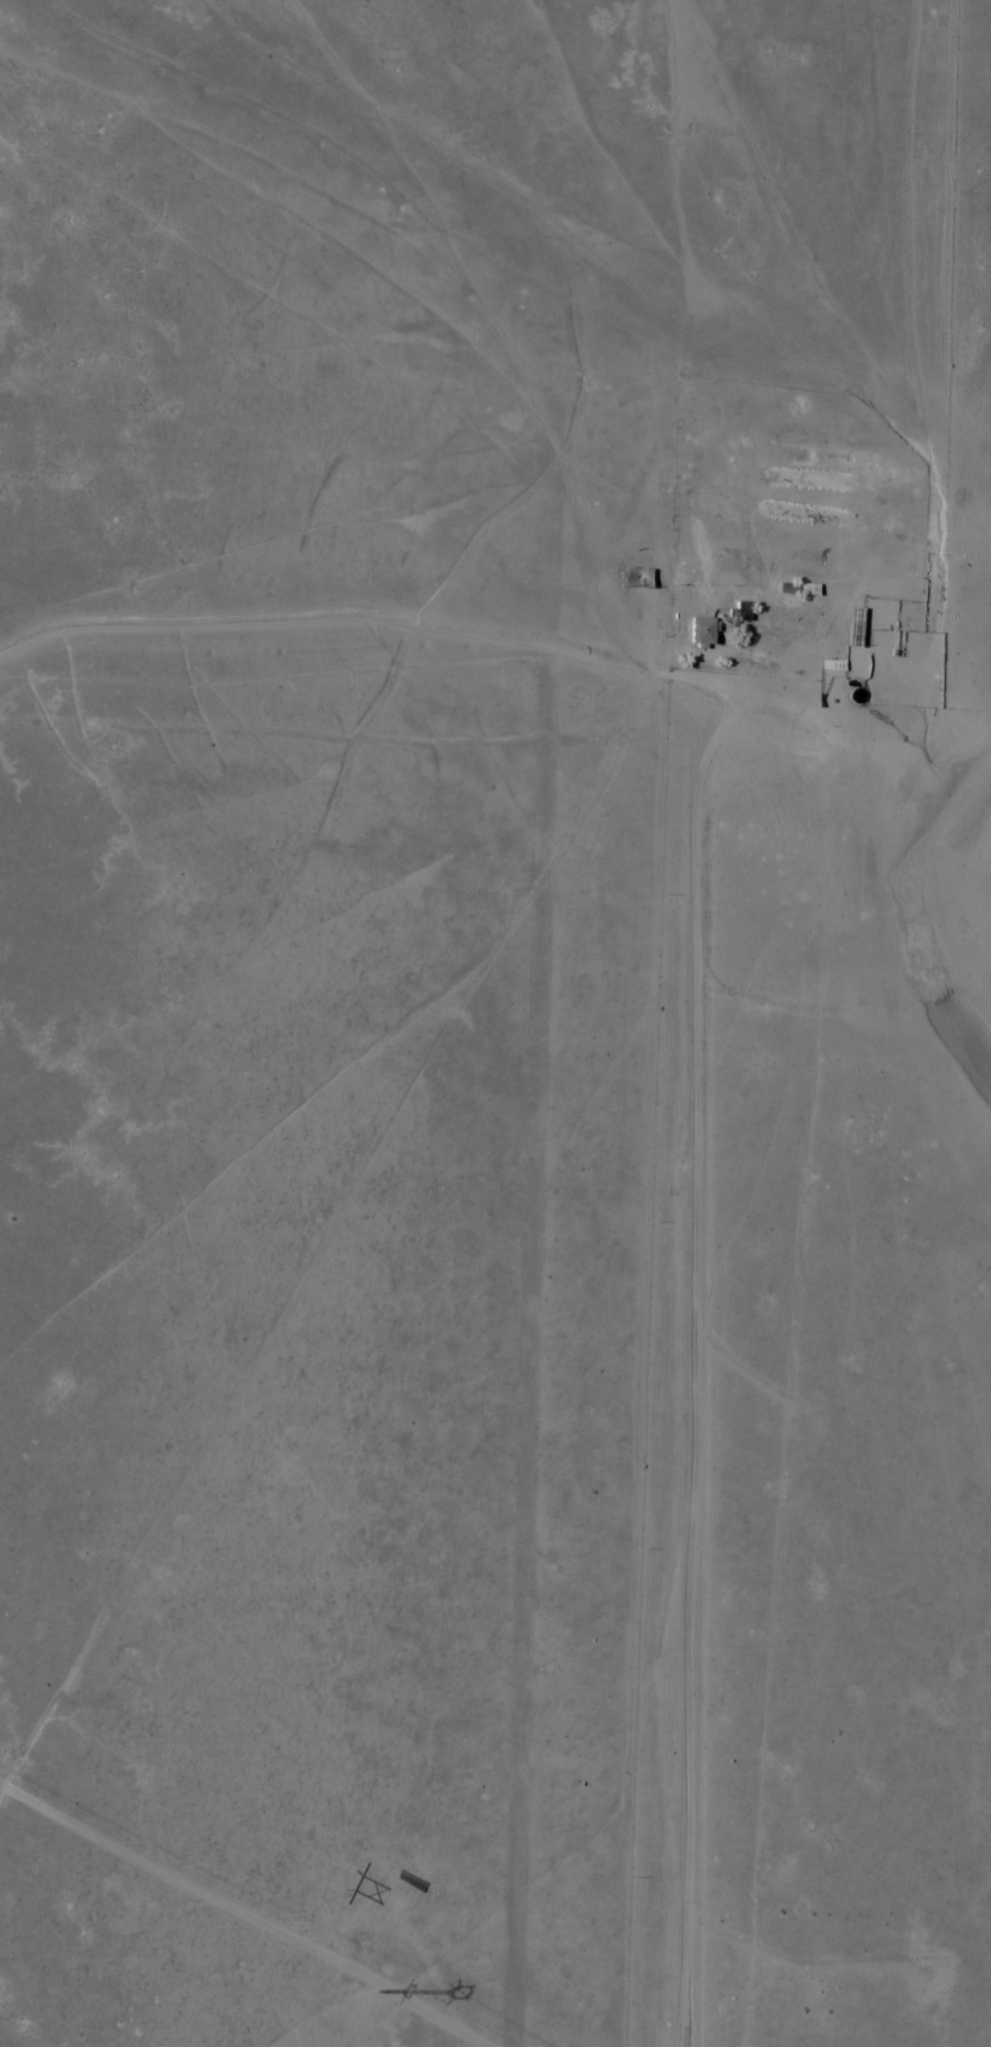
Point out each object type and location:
road: (592, 121)
building: (636, 579)
building: (785, 589)
building: (806, 591)
building: (739, 614)
building: (853, 629)
building: (701, 632)
building: (870, 666)
road: (347, 737)
power tower: (376, 1992)

